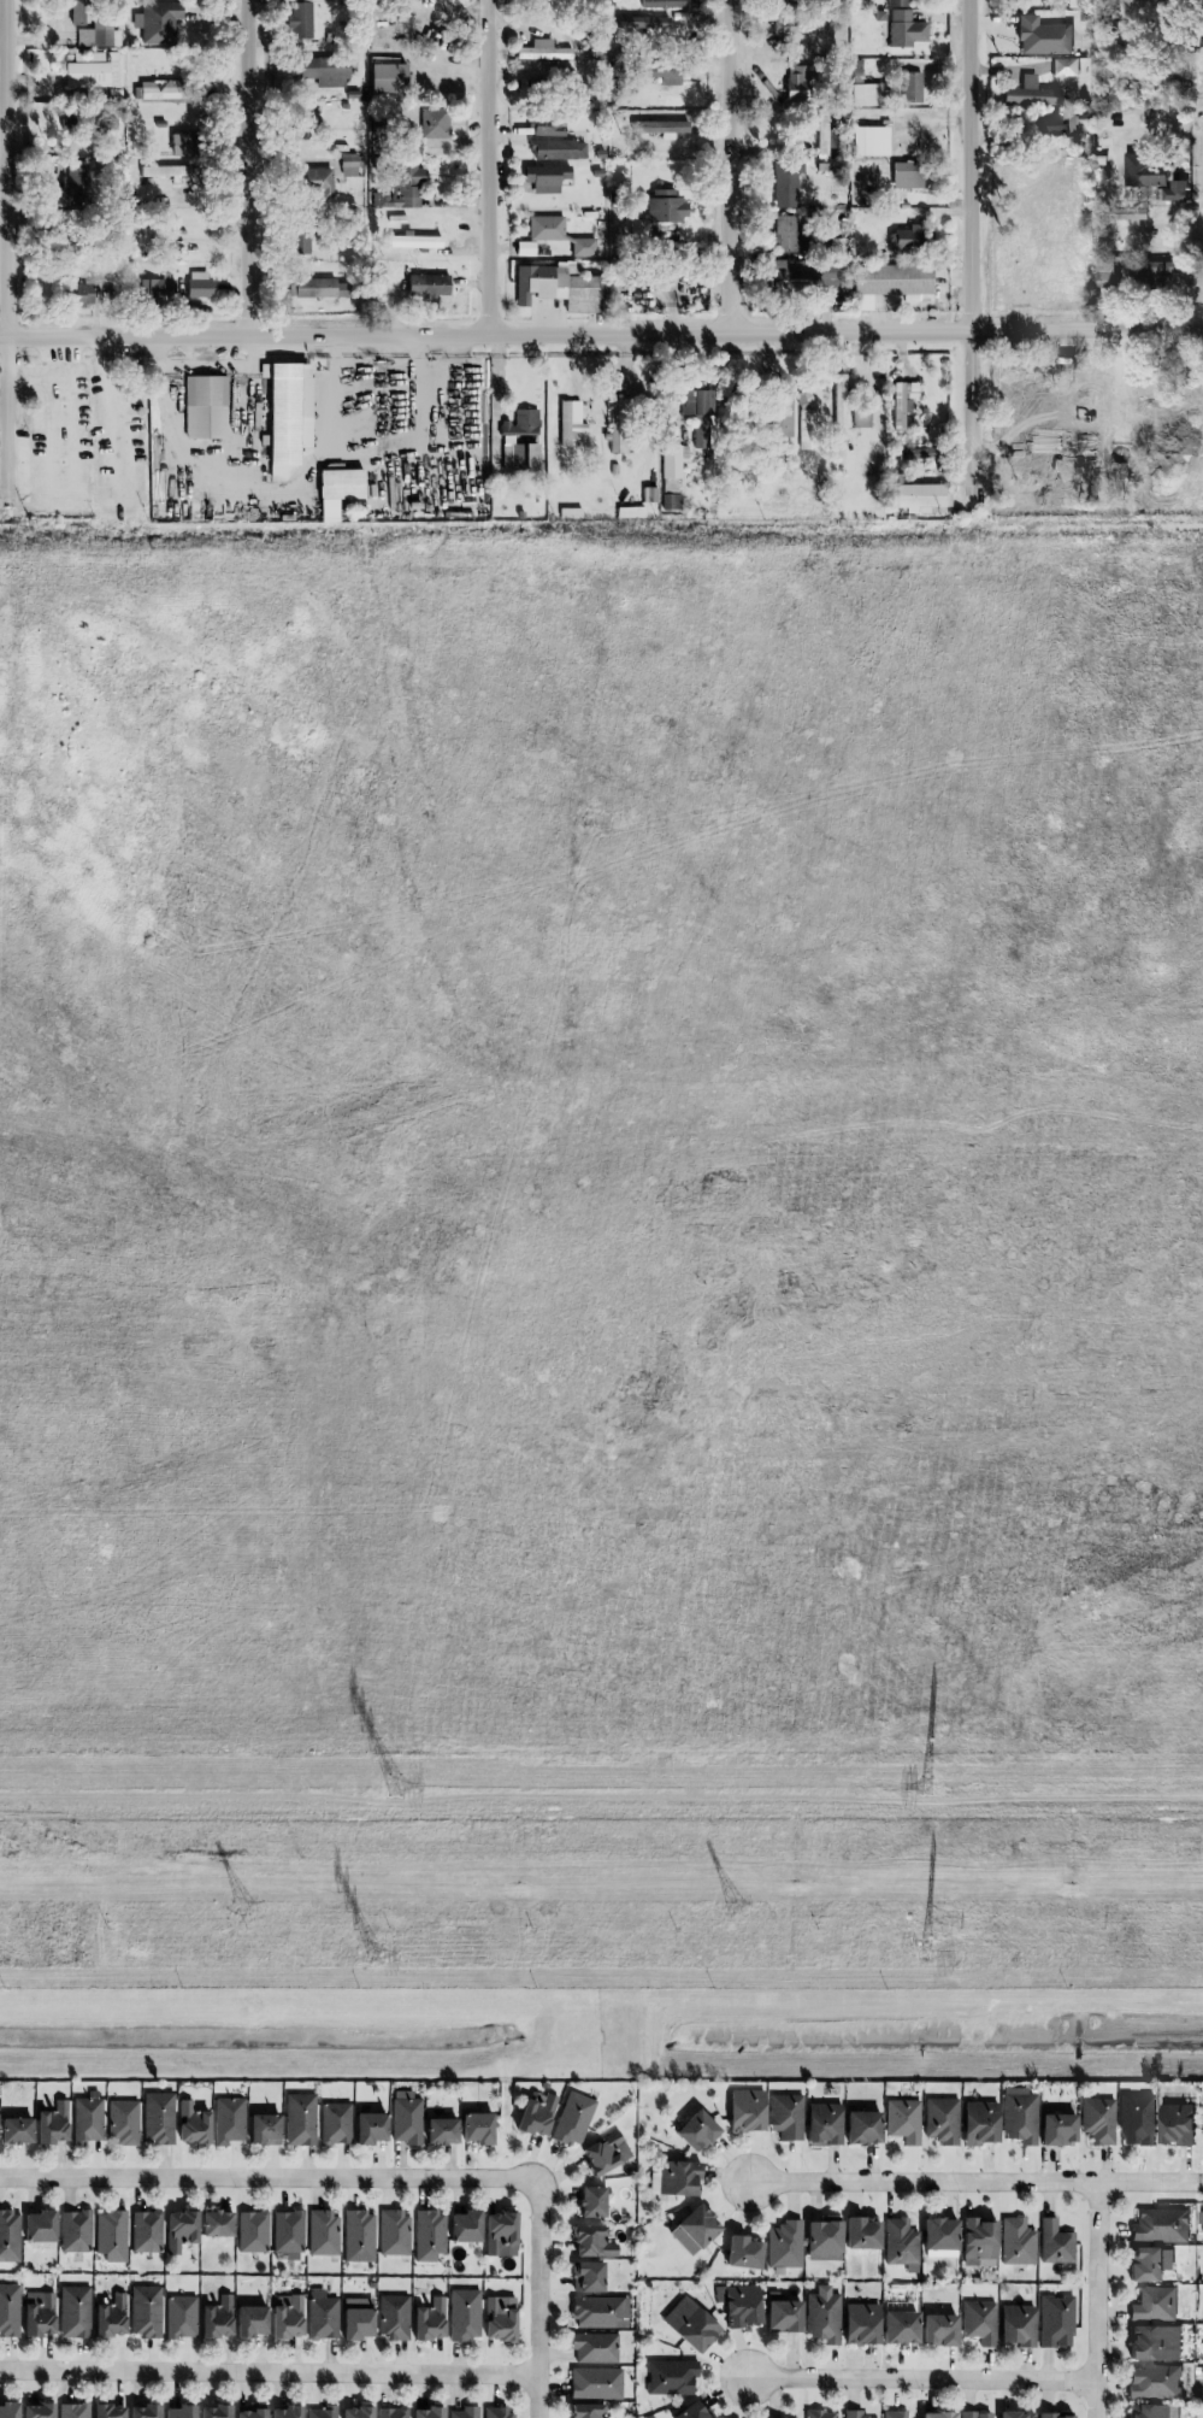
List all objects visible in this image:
building: (667, 4)
building: (895, 4)
building: (78, 12)
building: (299, 19)
building: (155, 22)
building: (626, 24)
building: (655, 25)
building: (904, 29)
building: (99, 36)
building: (1042, 37)
road: (4, 40)
road: (441, 42)
building: (542, 52)
building: (1063, 67)
building: (93, 71)
building: (322, 72)
building: (660, 73)
building: (385, 76)
building: (797, 83)
building: (912, 87)
building: (159, 90)
building: (1030, 94)
building: (866, 95)
building: (434, 123)
building: (1049, 123)
building: (544, 125)
building: (670, 127)
building: (824, 137)
building: (869, 141)
building: (181, 146)
building: (558, 151)
building: (349, 165)
road: (490, 166)
road: (731, 166)
road: (249, 167)
building: (906, 175)
building: (1151, 177)
building: (544, 178)
building: (313, 182)
building: (784, 184)
building: (73, 187)
building: (400, 189)
building: (657, 214)
building: (1132, 214)
building: (560, 234)
building: (786, 236)
building: (903, 239)
building: (413, 241)
road: (972, 248)
road: (7, 249)
building: (789, 270)
building: (1160, 271)
building: (1102, 275)
building: (831, 280)
building: (891, 280)
building: (197, 284)
building: (426, 286)
building: (84, 287)
building: (561, 287)
building: (154, 288)
building: (318, 289)
road: (601, 334)
building: (900, 404)
building: (205, 407)
building: (839, 407)
building: (698, 412)
building: (285, 413)
building: (861, 418)
building: (782, 419)
building: (806, 422)
building: (523, 423)
building: (571, 423)
building: (619, 424)
building: (919, 454)
building: (518, 457)
building: (532, 457)
building: (507, 458)
building: (674, 464)
building: (336, 492)
building: (920, 498)
building: (673, 500)
road: (1170, 789)
road: (936, 1092)
road: (1189, 1102)
road: (1175, 1273)
road: (1190, 1522)
road: (1191, 1592)
road: (1191, 1630)
road: (1179, 1658)
road: (1198, 1676)
road: (1155, 1724)
power tower: (396, 1787)
power tower: (927, 1787)
power tower: (739, 1905)
power tower: (248, 1906)
power tower: (375, 1957)
power tower: (928, 1958)
building: (745, 2110)
building: (1019, 2114)
building: (785, 2116)
building: (157, 2118)
building: (299, 2118)
building: (572, 2118)
building: (87, 2119)
building: (228, 2119)
building: (1098, 2119)
building: (1136, 2119)
building: (405, 2120)
building: (902, 2120)
building: (940, 2120)
building: (122, 2122)
building: (978, 2122)
building: (51, 2123)
building: (190, 2123)
building: (334, 2123)
building: (822, 2123)
building: (1174, 2124)
building: (861, 2125)
building: (368, 2126)
building: (263, 2128)
building: (476, 2128)
building: (1057, 2128)
building: (14, 2129)
building: (440, 2130)
building: (695, 2130)
building: (605, 2153)
road: (269, 2177)
building: (674, 2178)
road: (977, 2182)
building: (590, 2201)
building: (1199, 2217)
building: (214, 2223)
building: (39, 2225)
building: (464, 2225)
building: (1160, 2225)
building: (178, 2229)
building: (692, 2229)
building: (73, 2230)
building: (145, 2231)
building: (252, 2231)
building: (861, 2231)
building: (287, 2232)
building: (323, 2232)
building: (393, 2232)
building: (499, 2234)
building: (8, 2235)
building: (110, 2235)
building: (358, 2235)
building: (427, 2235)
building: (939, 2237)
building: (821, 2240)
building: (978, 2240)
building: (591, 2241)
building: (1016, 2241)
building: (1055, 2242)
building: (784, 2243)
building: (900, 2243)
building: (742, 2252)
building: (1145, 2263)
building: (585, 2276)
road: (541, 2300)
road: (1098, 2300)
building: (739, 2304)
building: (1154, 2304)
building: (8, 2310)
building: (145, 2311)
building: (37, 2312)
building: (73, 2312)
building: (598, 2312)
building: (782, 2313)
building: (322, 2314)
building: (464, 2314)
building: (822, 2314)
building: (179, 2316)
building: (108, 2317)
building: (216, 2317)
building: (356, 2317)
building: (287, 2318)
building: (393, 2318)
building: (497, 2318)
building: (429, 2319)
building: (249, 2320)
building: (1055, 2320)
building: (978, 2322)
building: (689, 2324)
building: (860, 2324)
building: (1016, 2325)
building: (898, 2326)
building: (938, 2329)
building: (1154, 2342)
building: (594, 2347)
road: (270, 2371)
building: (670, 2377)
road: (922, 2379)
building: (1154, 2382)
building: (595, 2383)
building: (1202, 2387)
building: (7, 2408)
building: (36, 2410)
building: (72, 2410)
building: (585, 2410)
building: (106, 2411)
building: (143, 2411)
building: (179, 2411)
building: (214, 2411)
building: (287, 2411)
building: (690, 2411)
building: (1151, 2411)
building: (248, 2412)
building: (322, 2412)
building: (355, 2412)
building: (427, 2412)
building: (464, 2412)
building: (497, 2412)
building: (821, 2413)
building: (854, 2413)
building: (1015, 2413)
building: (894, 2414)
building: (937, 2414)
building: (975, 2414)
building: (1054, 2414)

